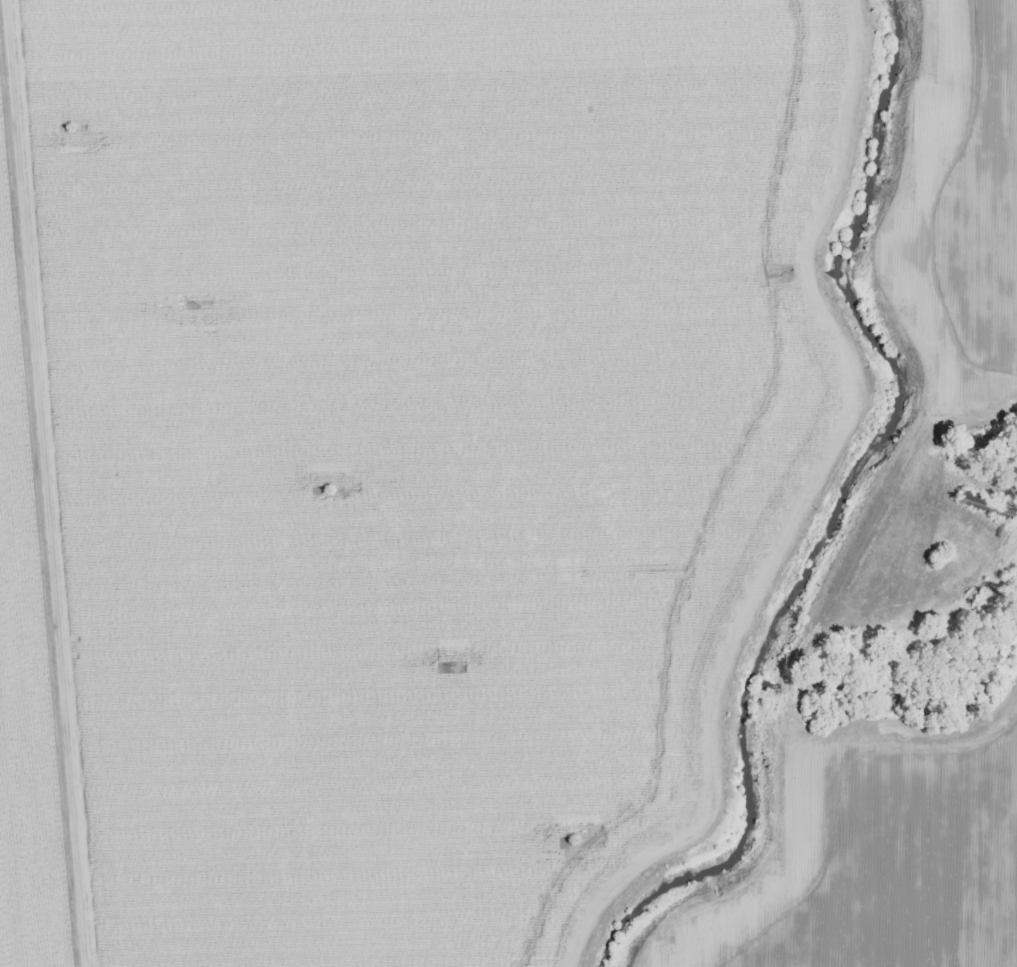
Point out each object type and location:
building: (973, 498)

